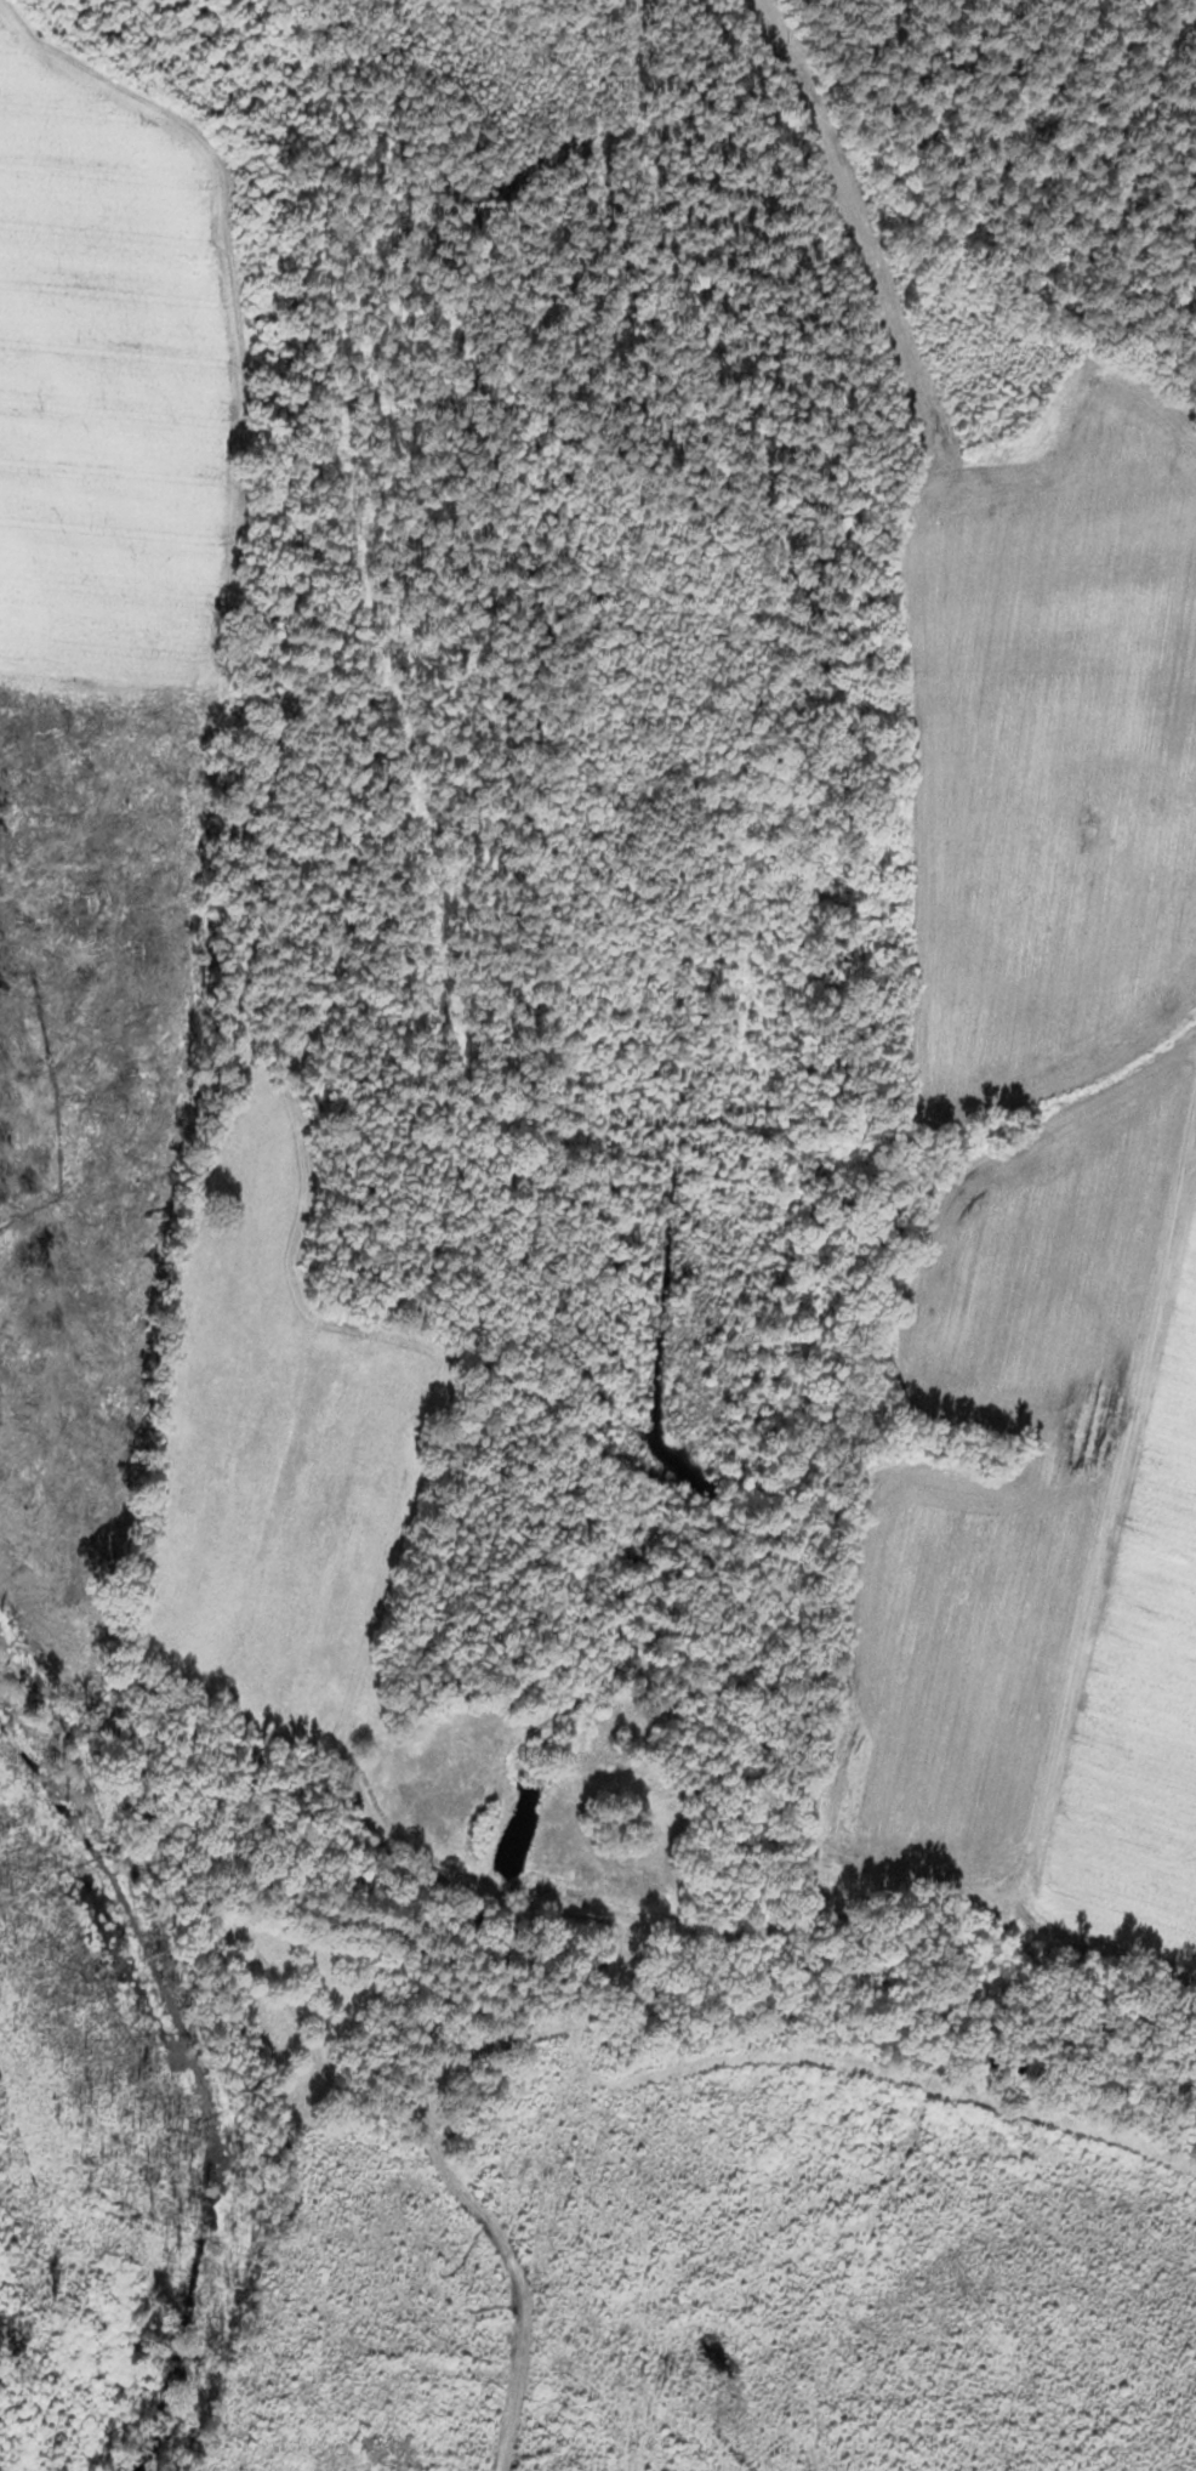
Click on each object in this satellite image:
road: (1151, 1293)

